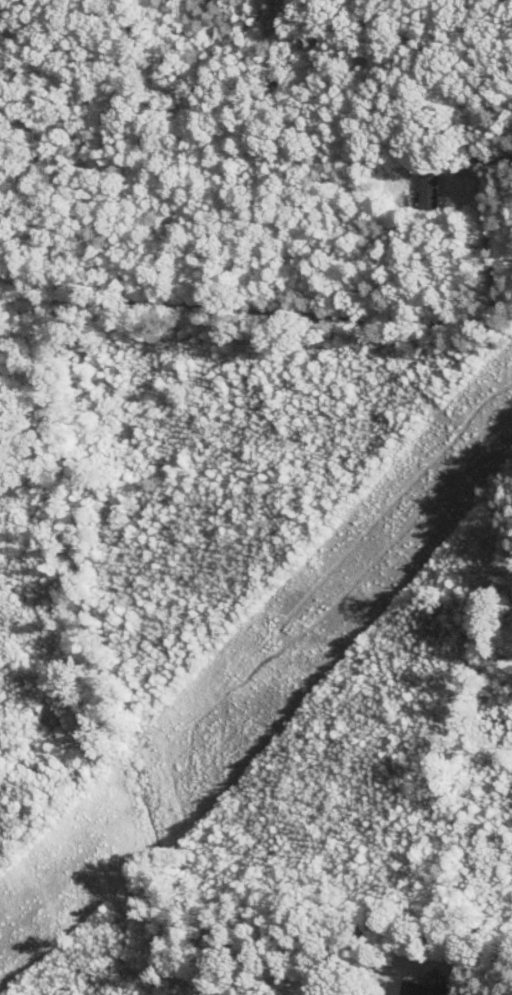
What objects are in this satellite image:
road: (488, 164)
building: (427, 186)
building: (438, 991)

